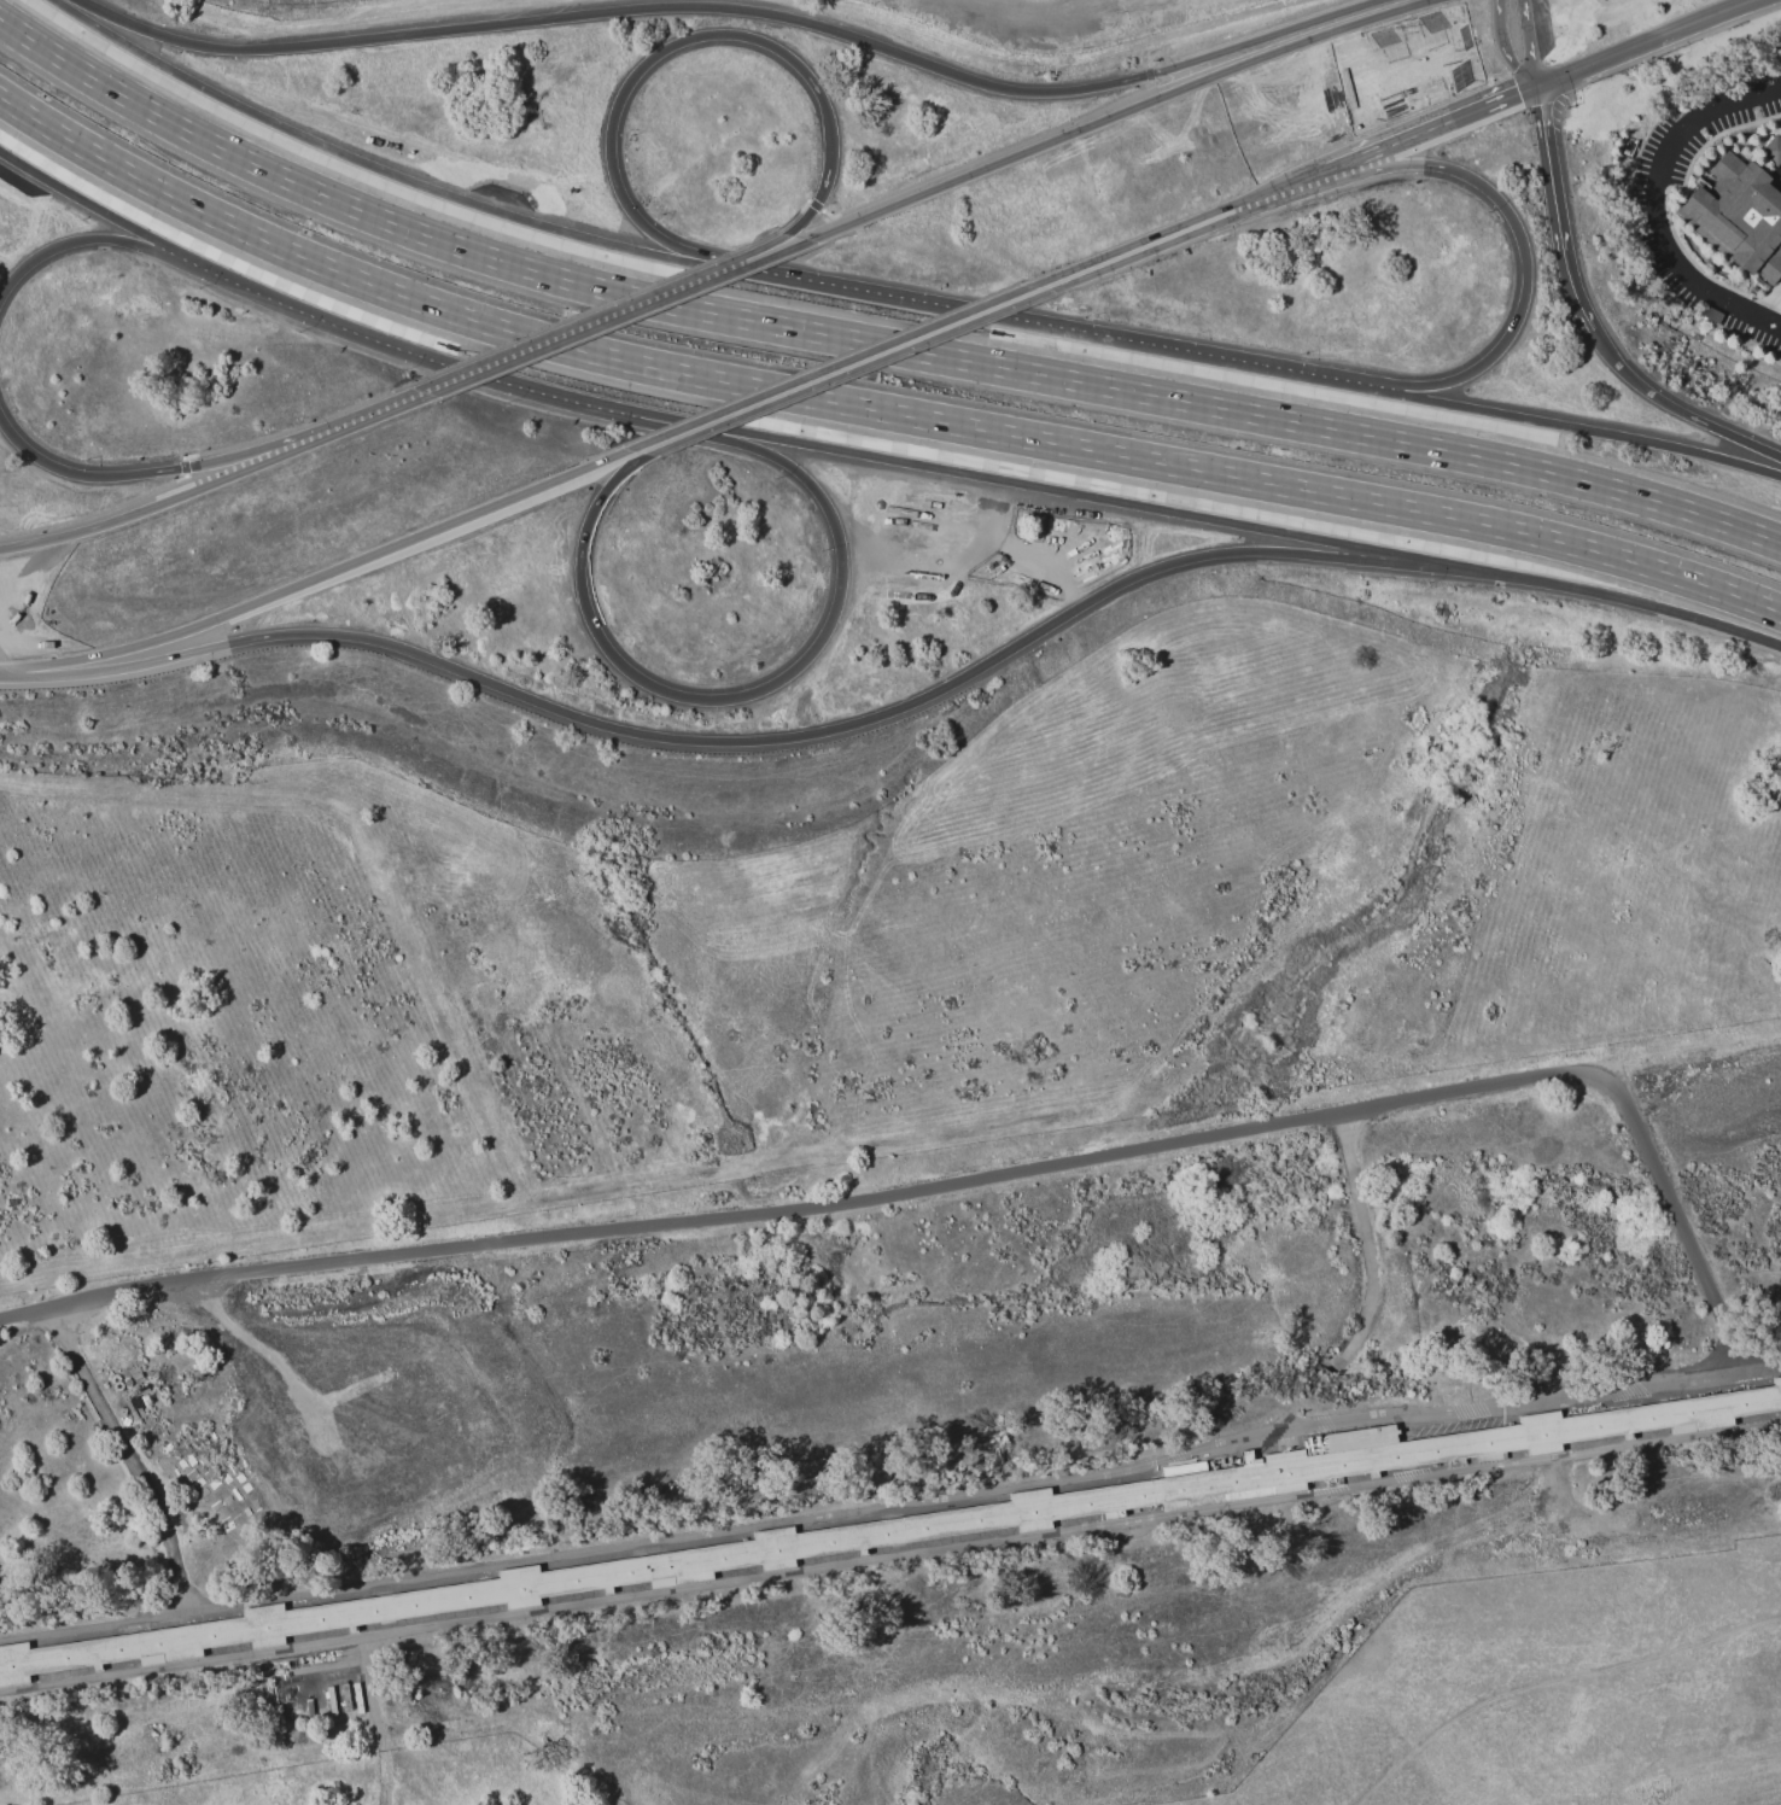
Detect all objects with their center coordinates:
road: (737, 10)
road: (1010, 14)
road: (1529, 43)
road: (1646, 43)
road: (1505, 48)
road: (656, 57)
traffic signals: (1535, 89)
road: (1125, 115)
road: (1433, 130)
building: (1771, 151)
road: (404, 180)
road: (1647, 206)
road: (1557, 212)
road: (107, 214)
building: (1738, 217)
road: (1189, 230)
road: (1520, 235)
road: (99, 240)
road: (772, 252)
road: (784, 255)
road: (583, 332)
road: (1057, 333)
road: (868, 344)
road: (437, 356)
road: (841, 372)
road: (1676, 409)
road: (871, 410)
road: (1555, 425)
road: (293, 440)
road: (74, 473)
road: (210, 485)
road: (1225, 521)
road: (323, 578)
road: (205, 650)
road: (988, 665)
road: (775, 687)
road: (964, 1180)
road: (1364, 1244)
road: (127, 1454)
road: (890, 1505)
building: (909, 1530)
road: (889, 1556)
road: (374, 1721)

